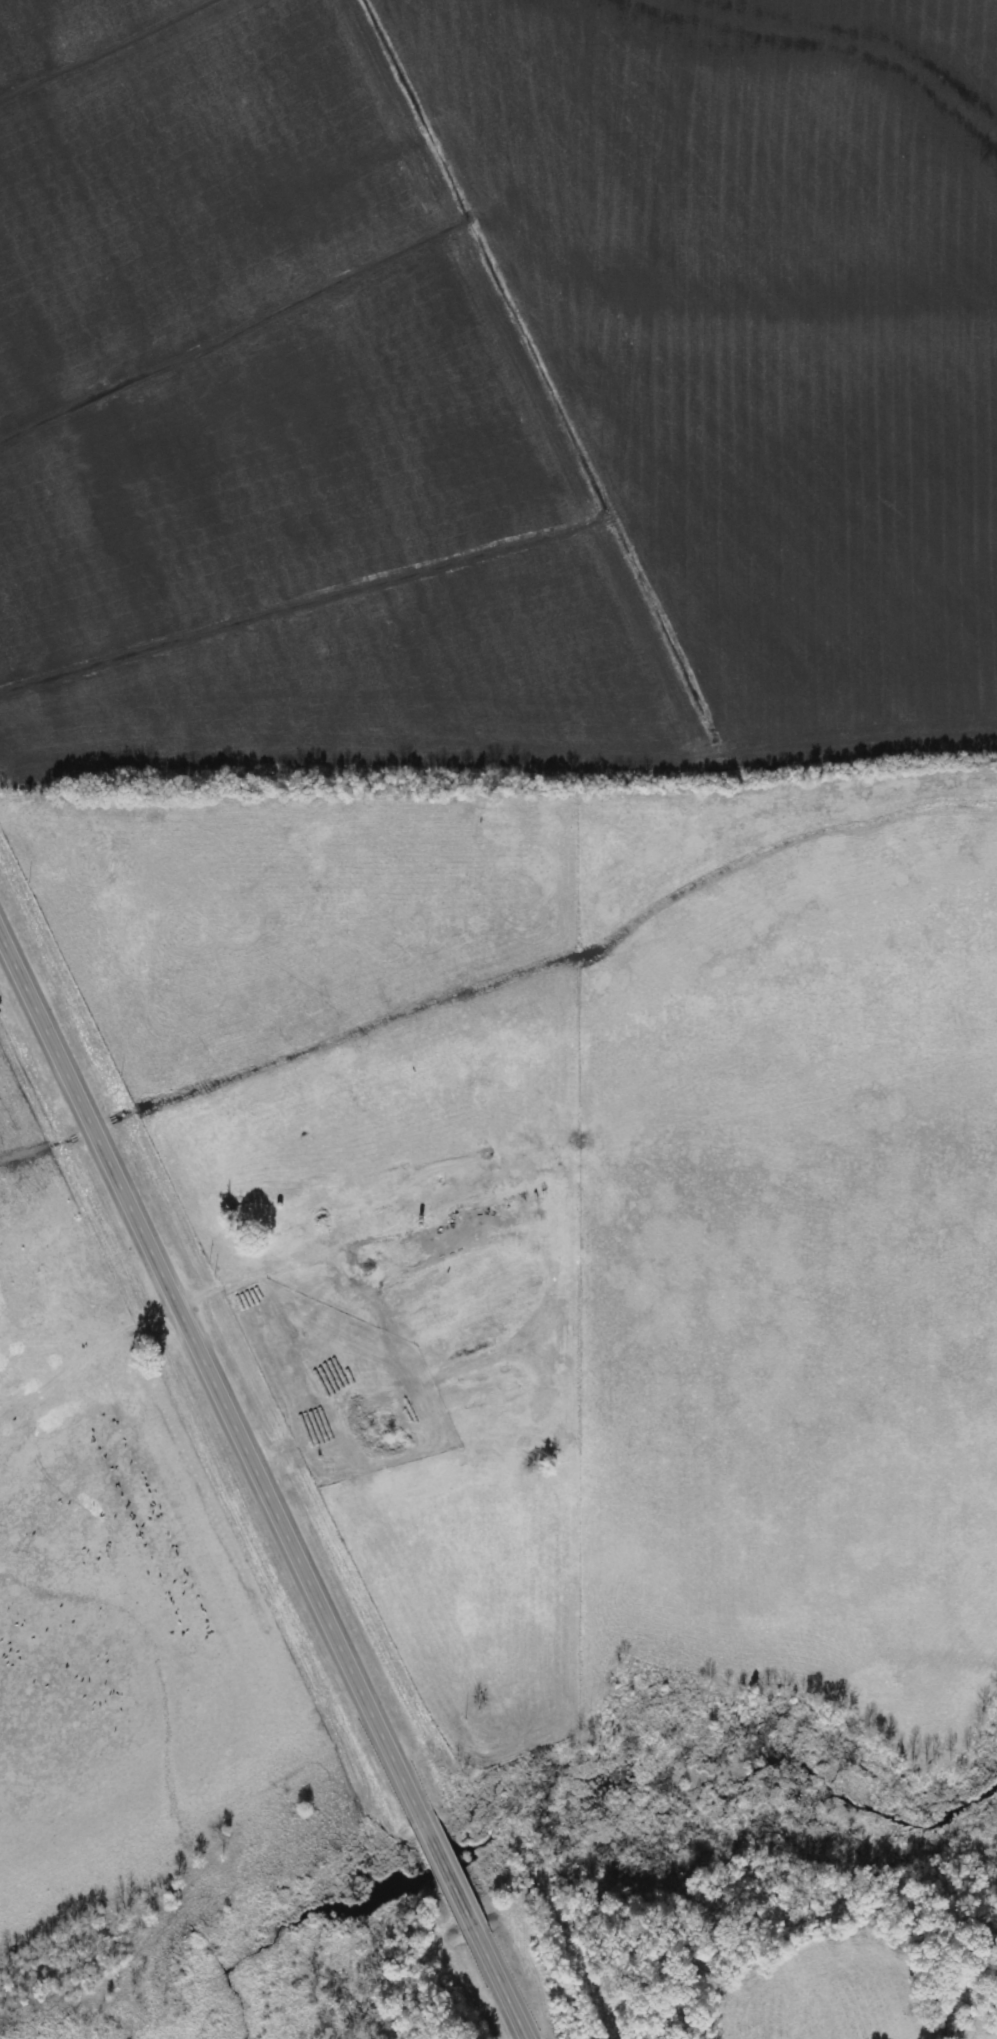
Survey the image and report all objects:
road: (210, 1379)
road: (449, 1877)
road: (502, 1986)

